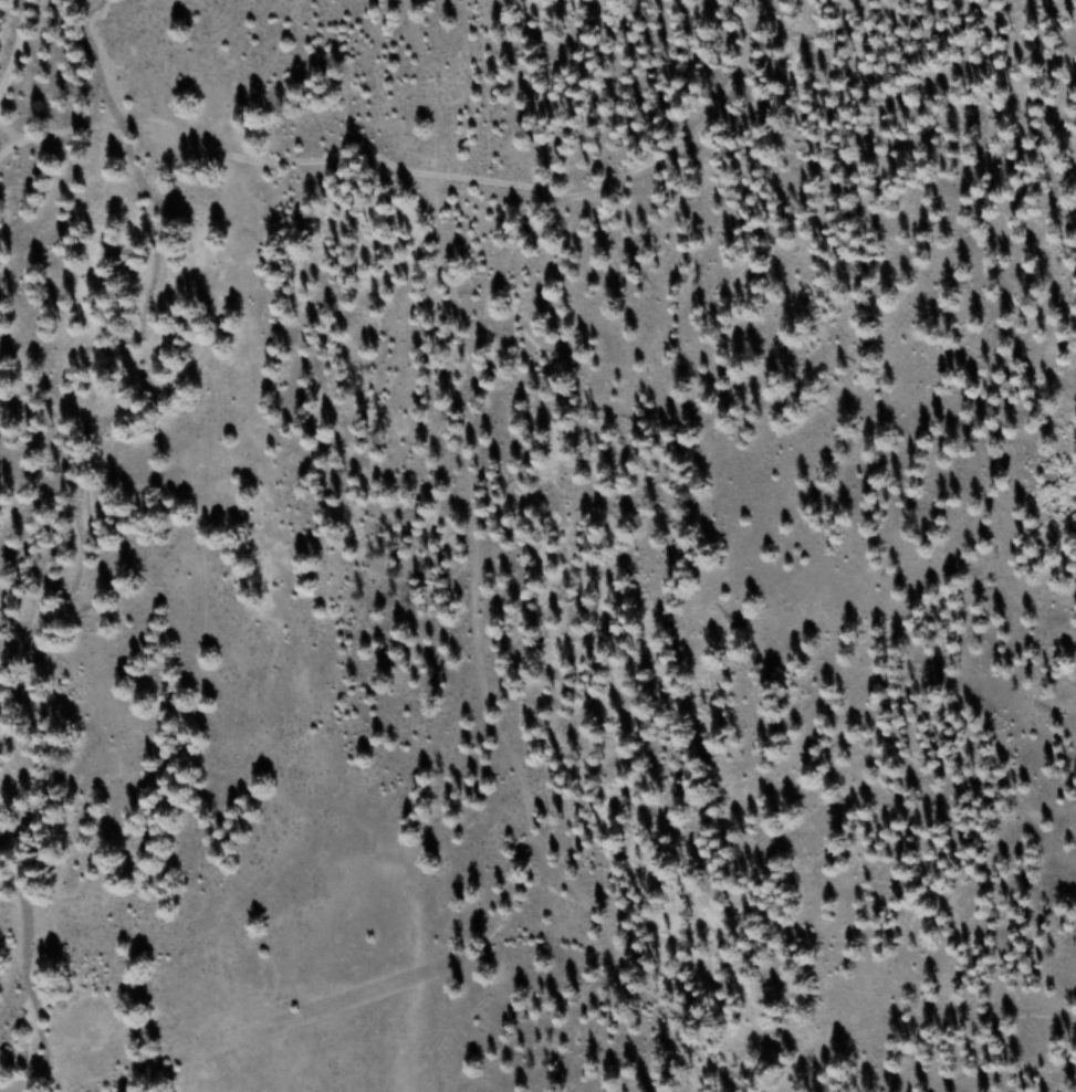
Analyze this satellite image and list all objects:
road: (13, 48)
road: (422, 157)

